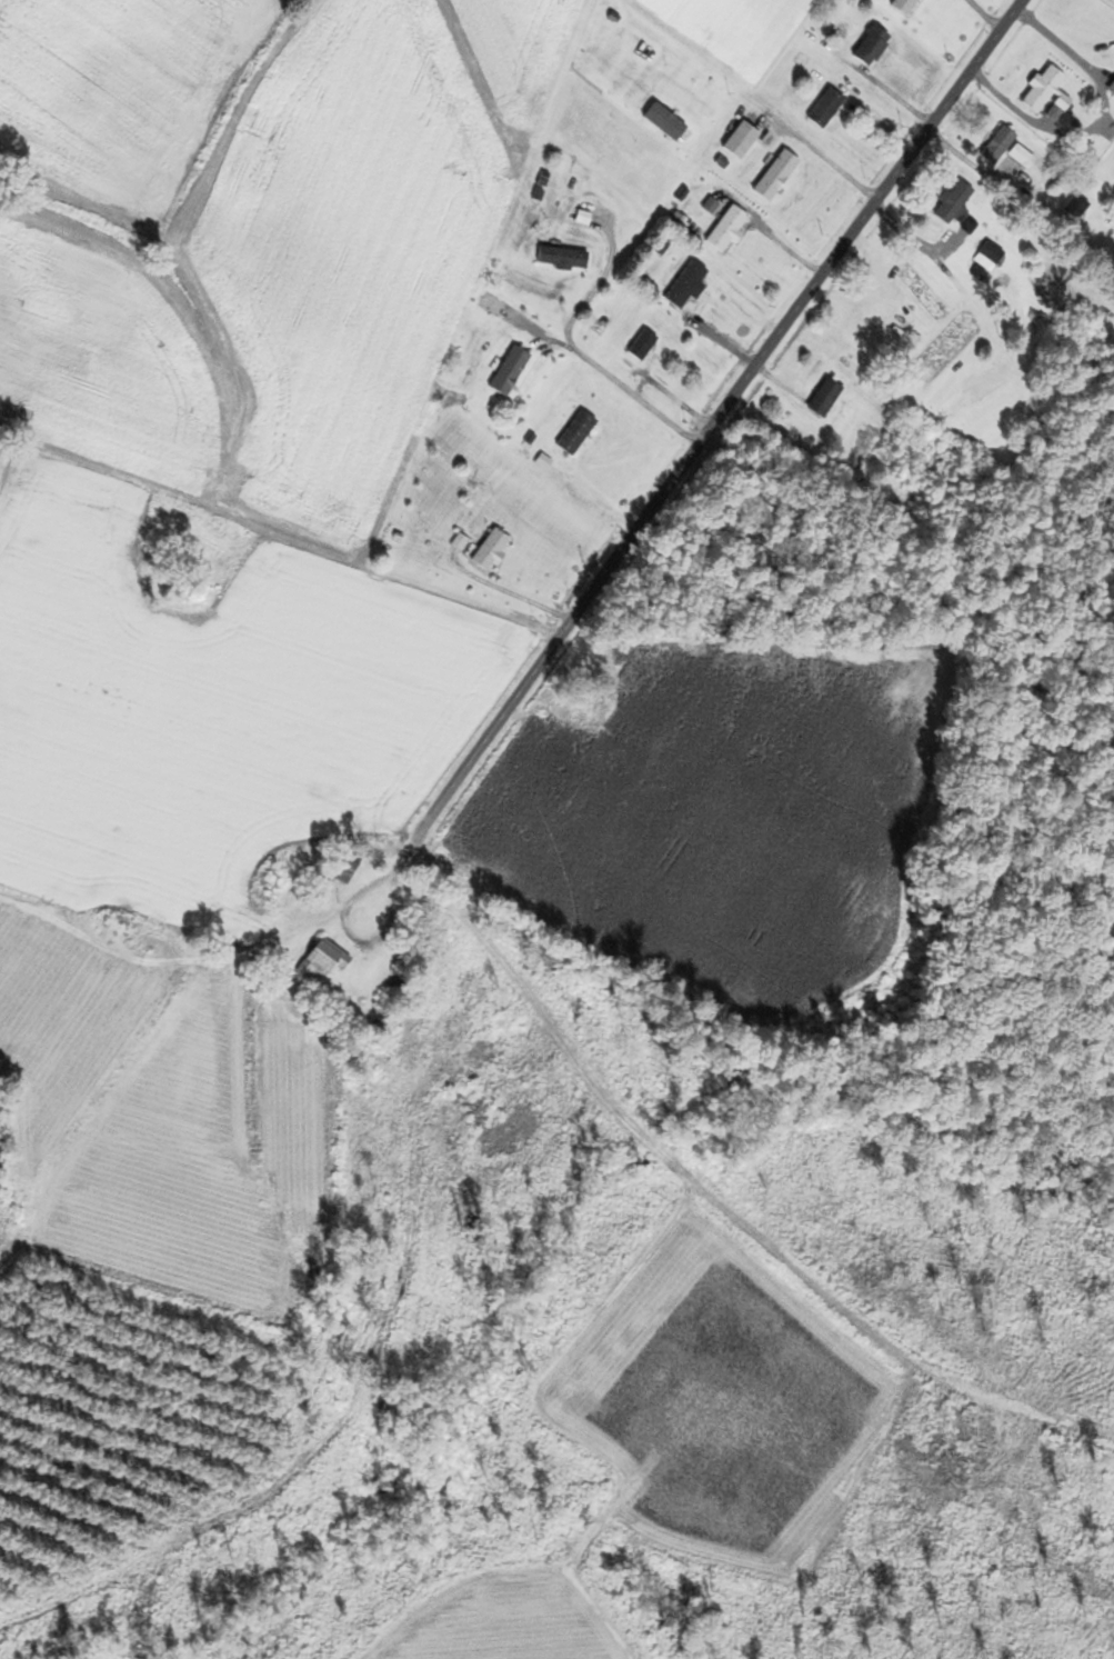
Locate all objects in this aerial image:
road: (1110, 2)
building: (899, 7)
building: (863, 48)
building: (1038, 91)
building: (817, 110)
building: (653, 127)
road: (1097, 128)
building: (997, 150)
building: (1077, 151)
building: (767, 178)
building: (946, 206)
building: (1068, 209)
building: (720, 230)
road: (773, 237)
building: (982, 257)
building: (556, 260)
building: (679, 287)
building: (481, 311)
road: (789, 318)
building: (635, 346)
building: (503, 372)
road: (604, 388)
building: (816, 399)
building: (569, 433)
building: (484, 551)
road: (425, 589)
building: (292, 866)
building: (319, 961)
road: (630, 1126)

